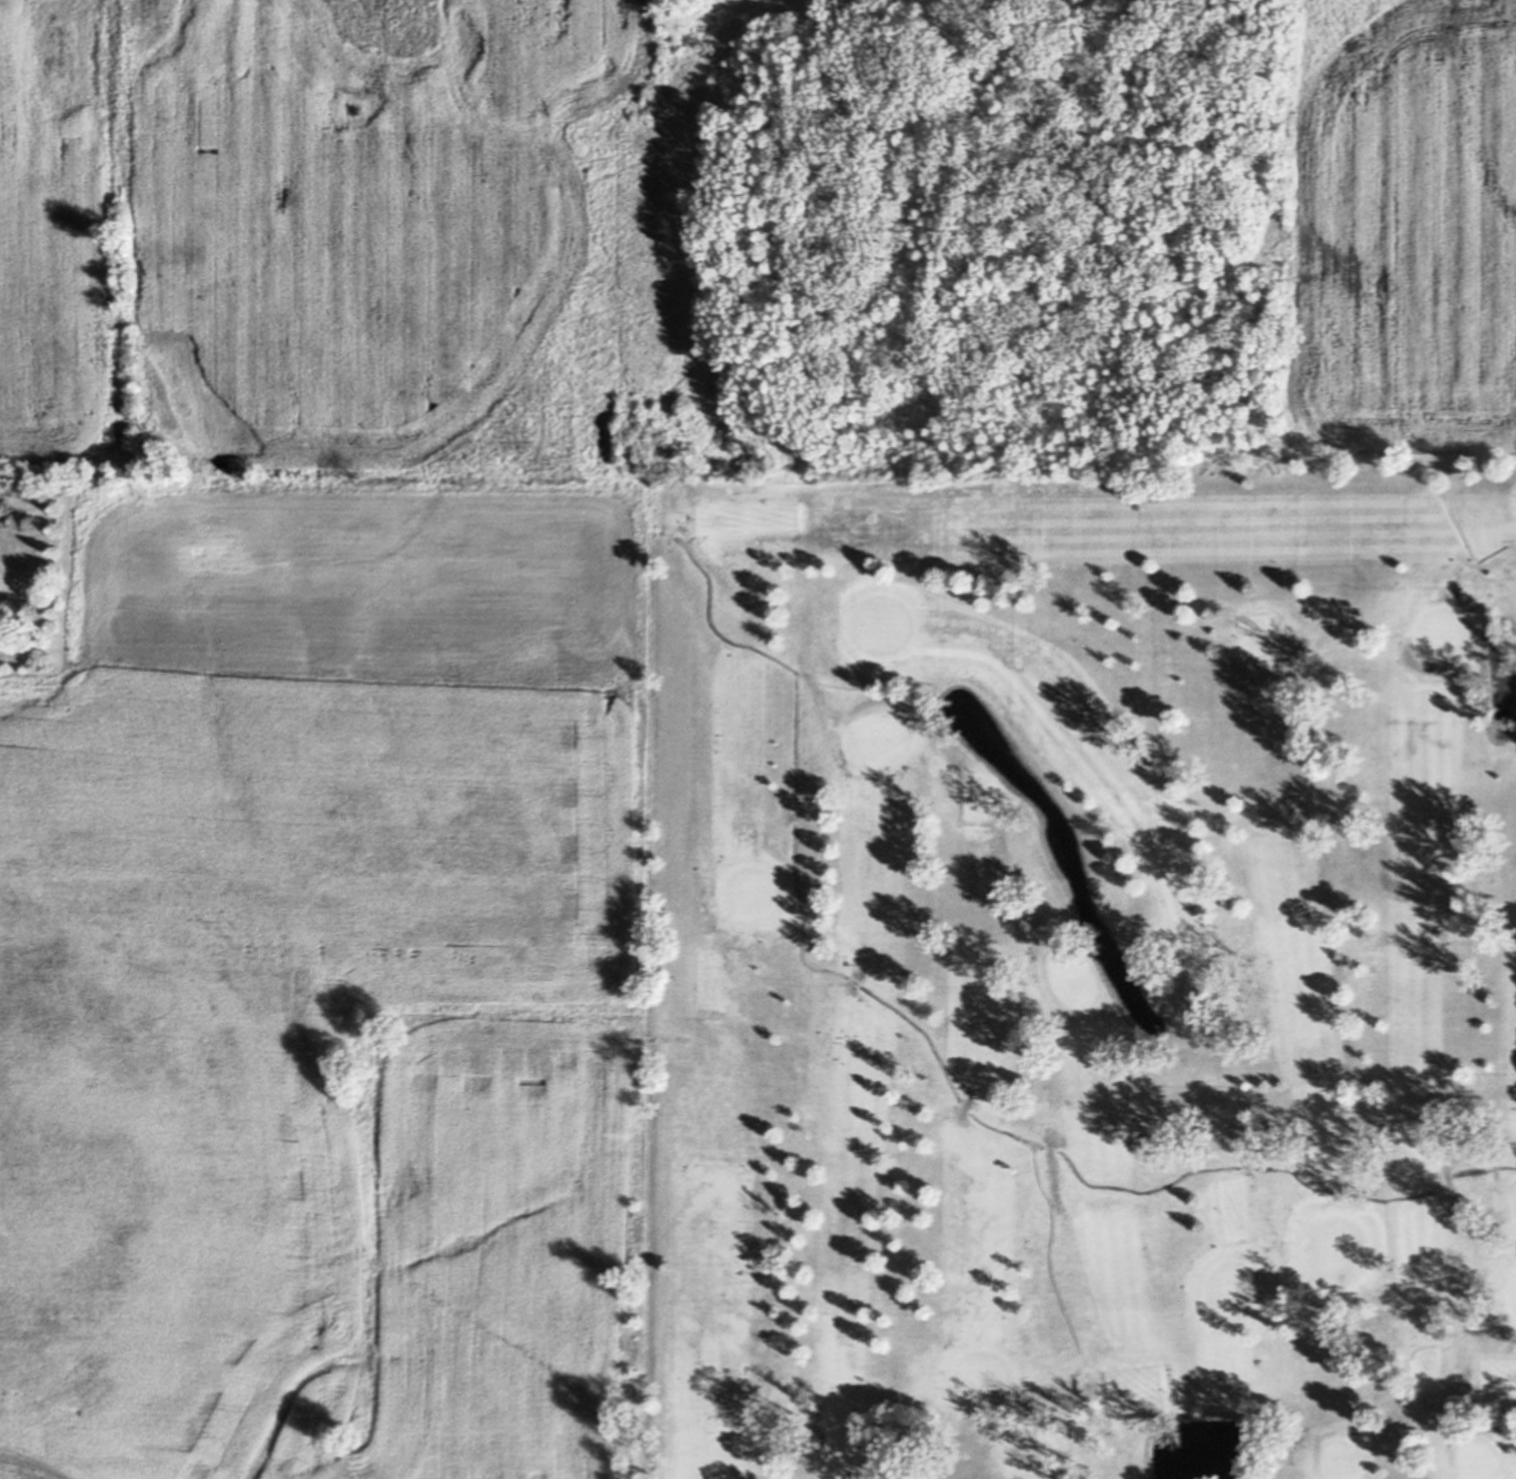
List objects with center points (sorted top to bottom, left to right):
building: (765, 272)
building: (1414, 467)
building: (668, 534)
building: (795, 815)
park: (1088, 970)
building: (855, 980)
building: (965, 1106)
building: (1051, 1147)
building: (1244, 1166)

